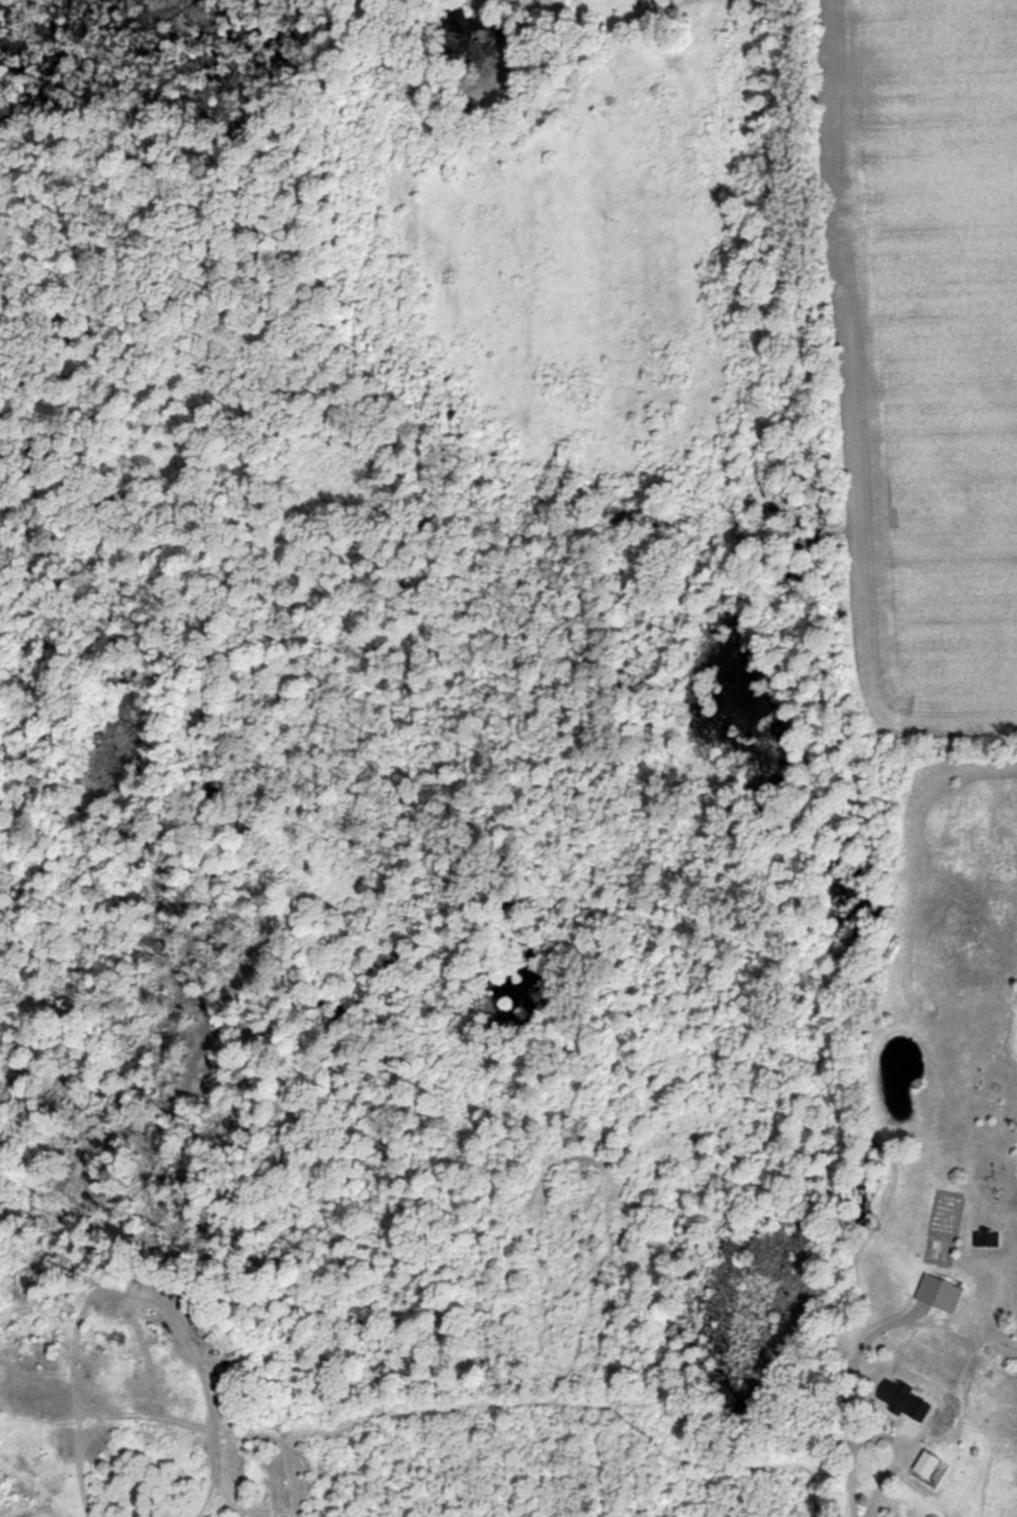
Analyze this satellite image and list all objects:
building: (988, 1241)
building: (941, 1294)
building: (900, 1396)
building: (932, 1465)
road: (866, 1471)

